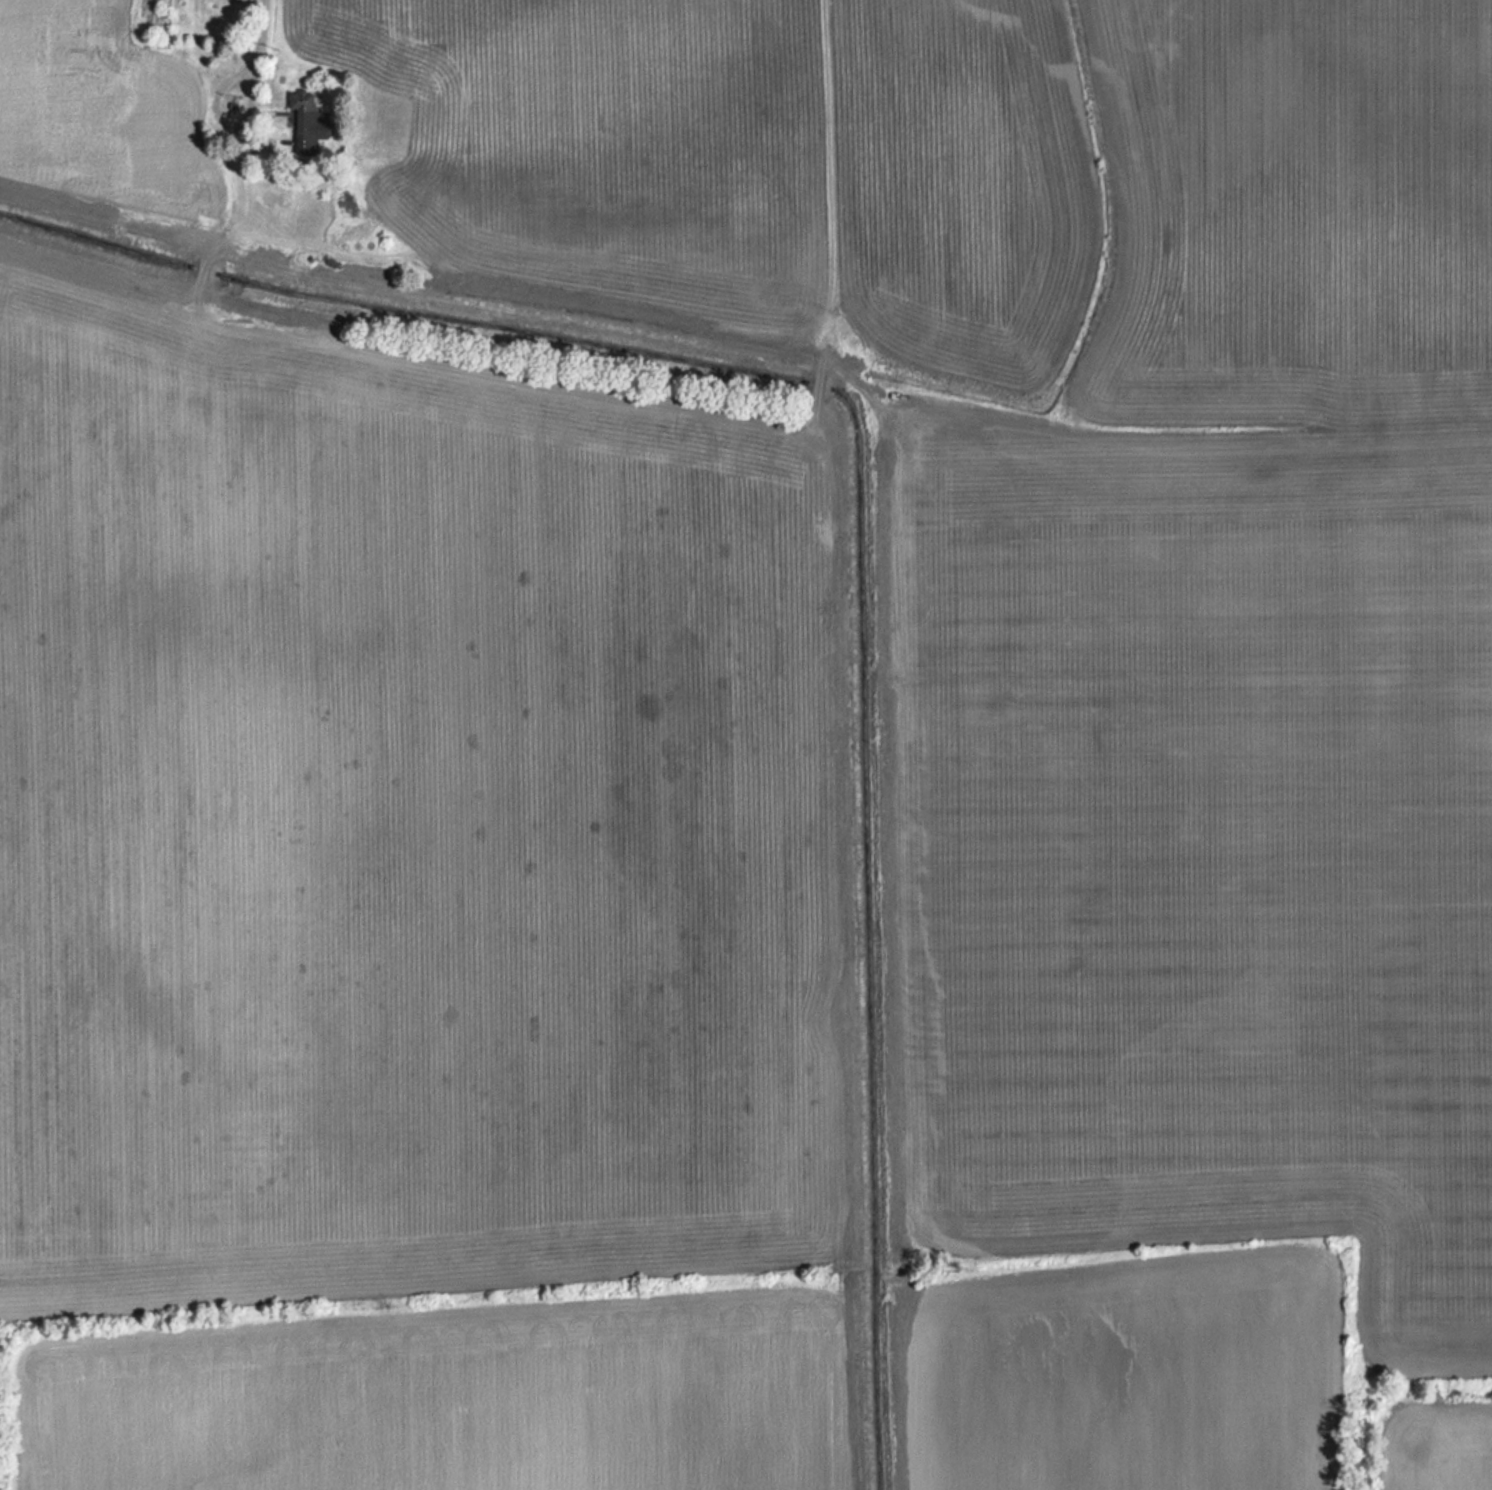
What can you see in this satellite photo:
road: (247, 51)

